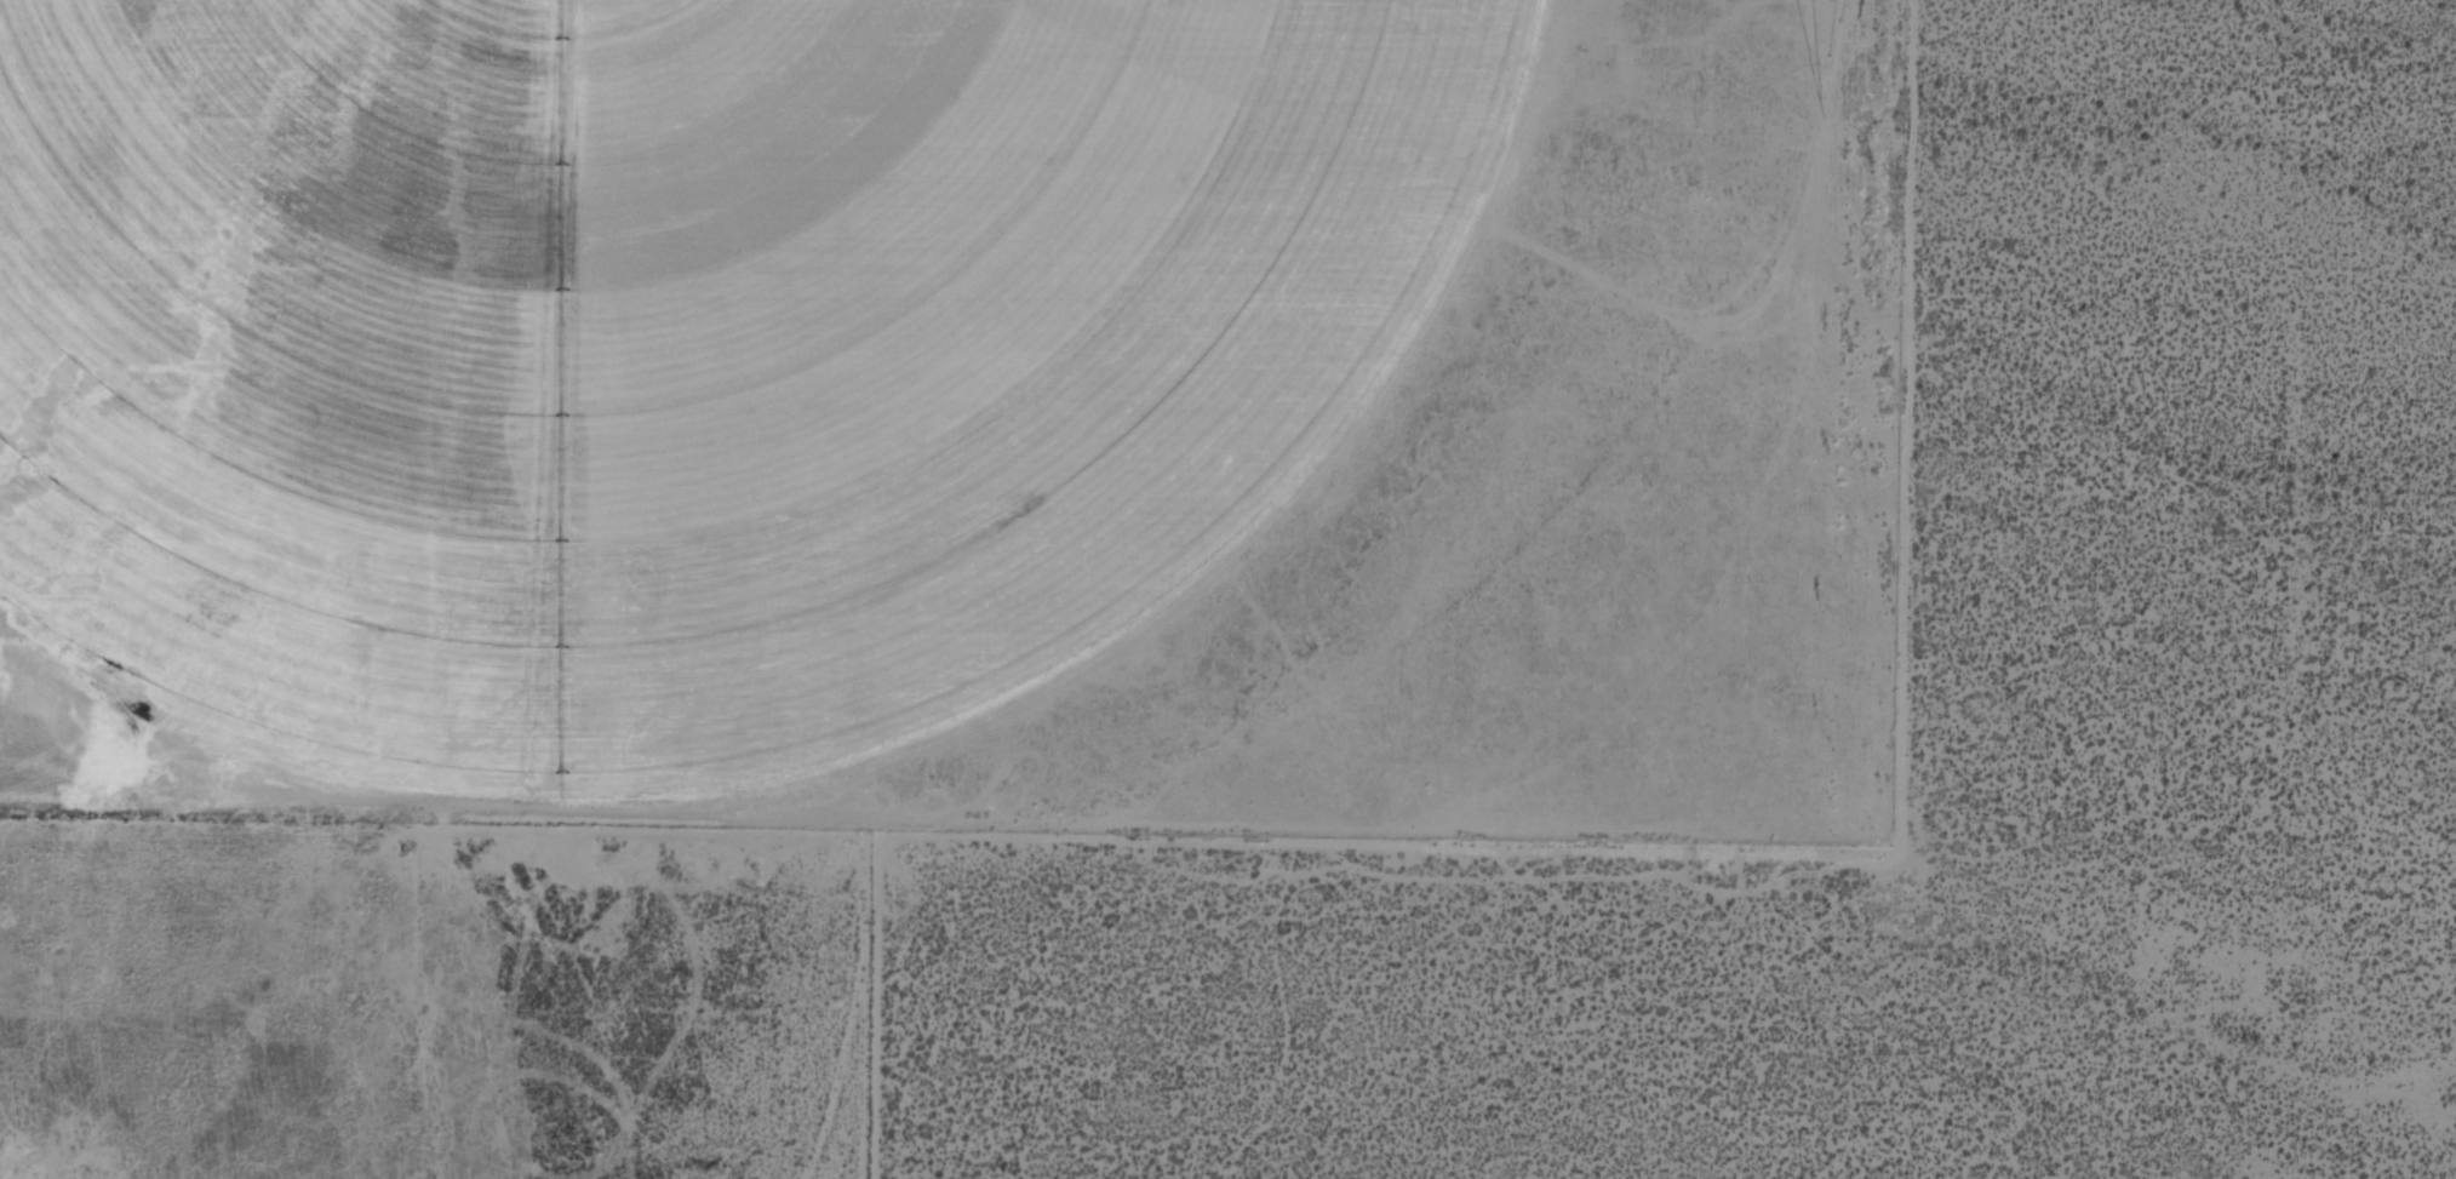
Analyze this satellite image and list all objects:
crop: (823, 361)
road: (1124, 647)
road: (1748, 859)
road: (880, 1009)

